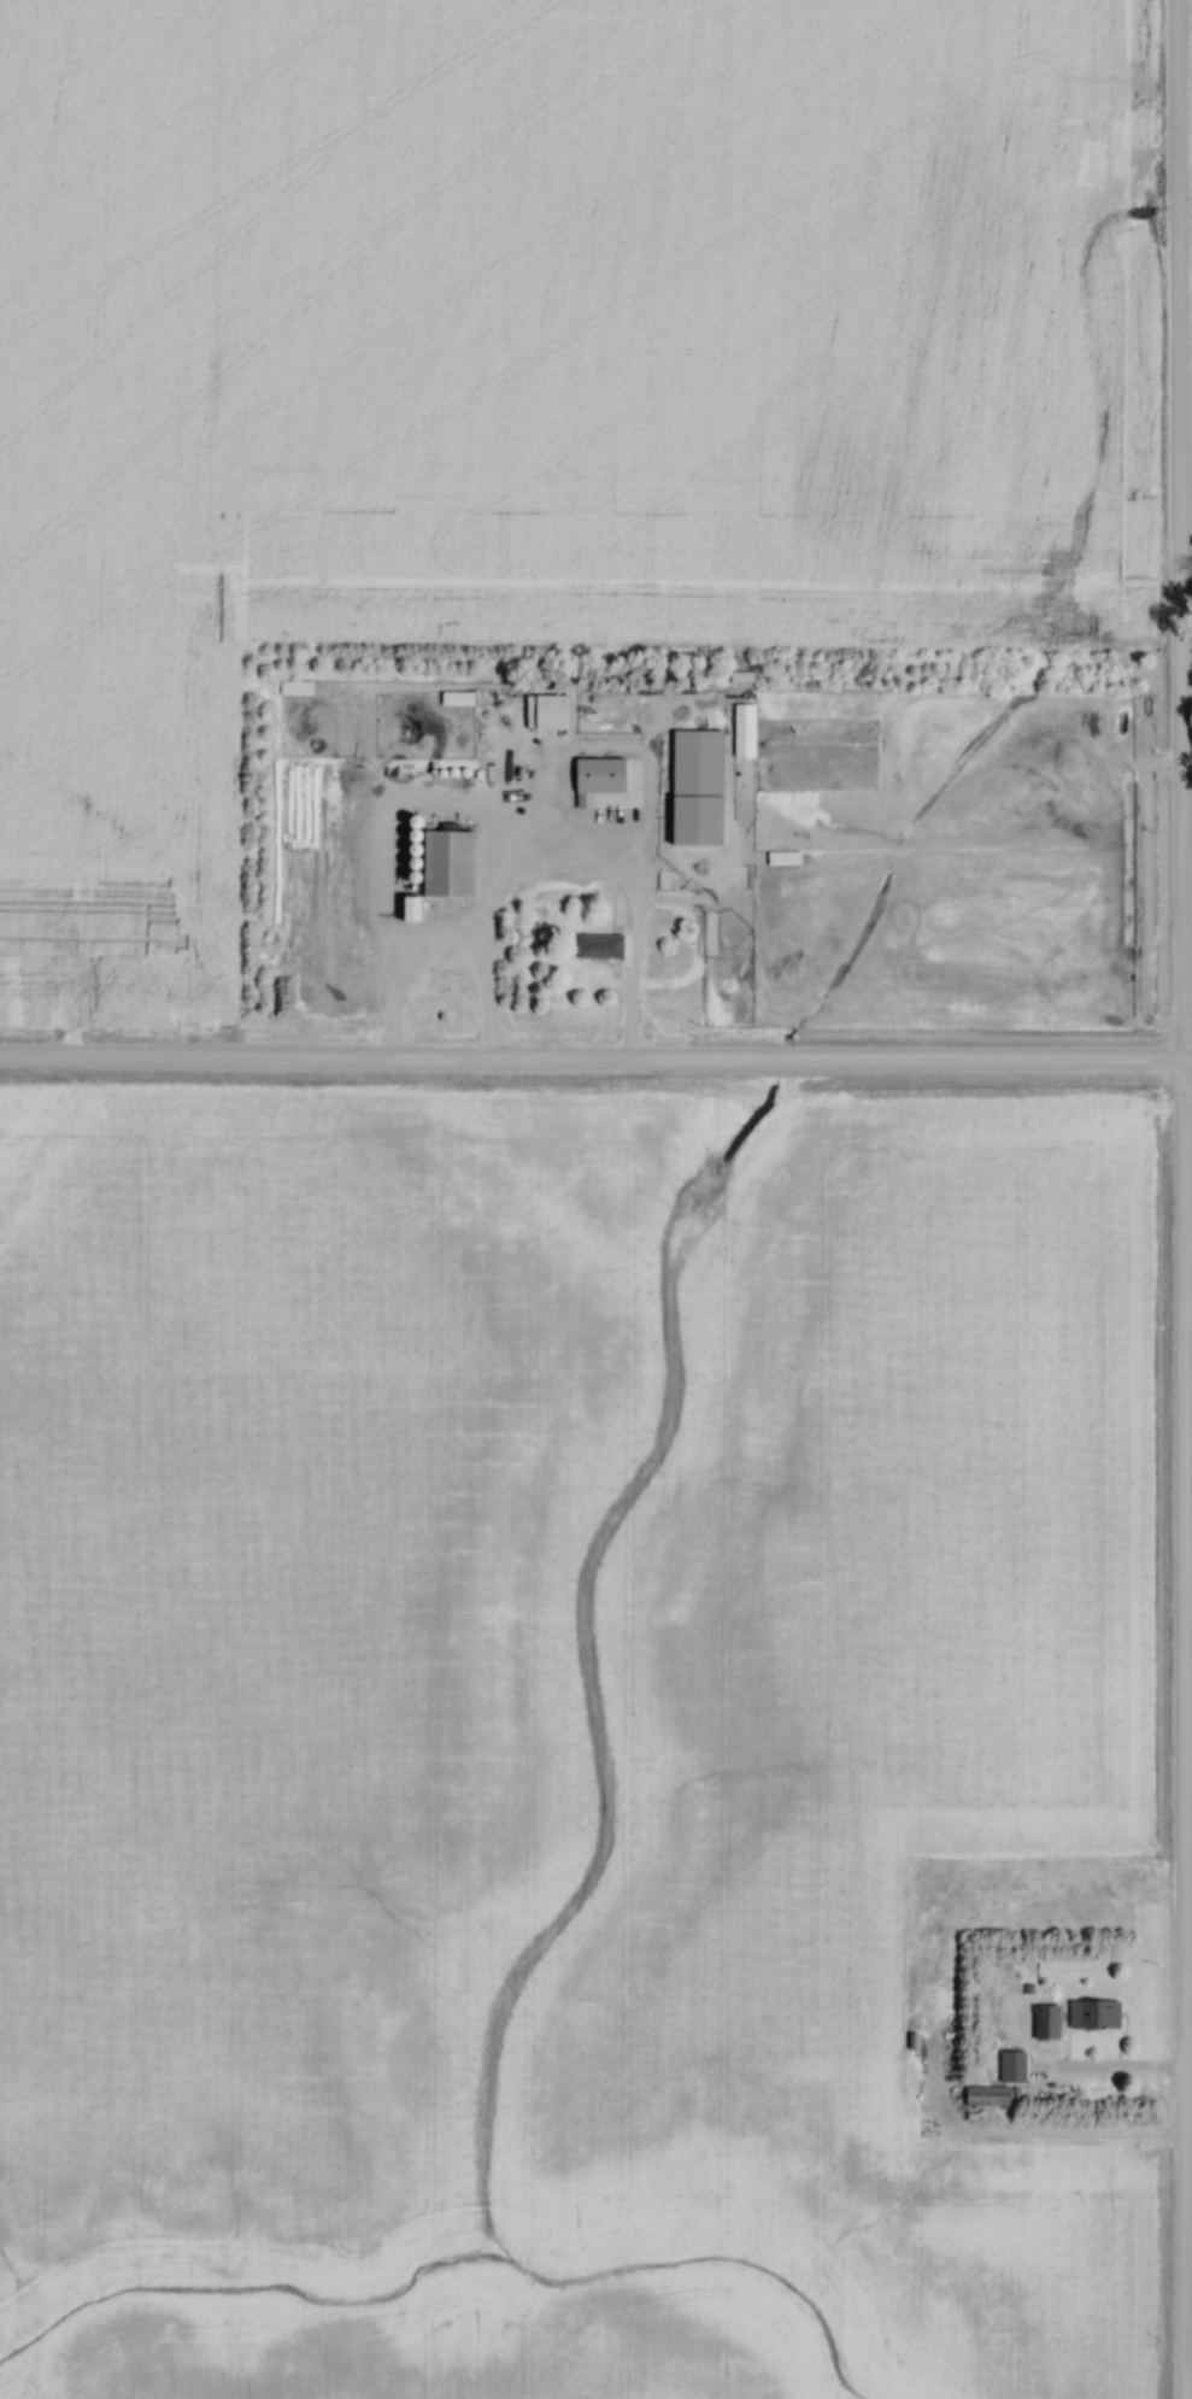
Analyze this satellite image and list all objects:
building: (293, 690)
building: (454, 700)
building: (750, 726)
building: (605, 772)
building: (682, 797)
building: (452, 858)
building: (780, 860)
road: (1184, 933)
building: (597, 948)
road: (626, 978)
road: (595, 1066)
road: (1176, 1198)
building: (1092, 2014)
building: (1034, 2035)
building: (1016, 2063)
building: (983, 2098)

